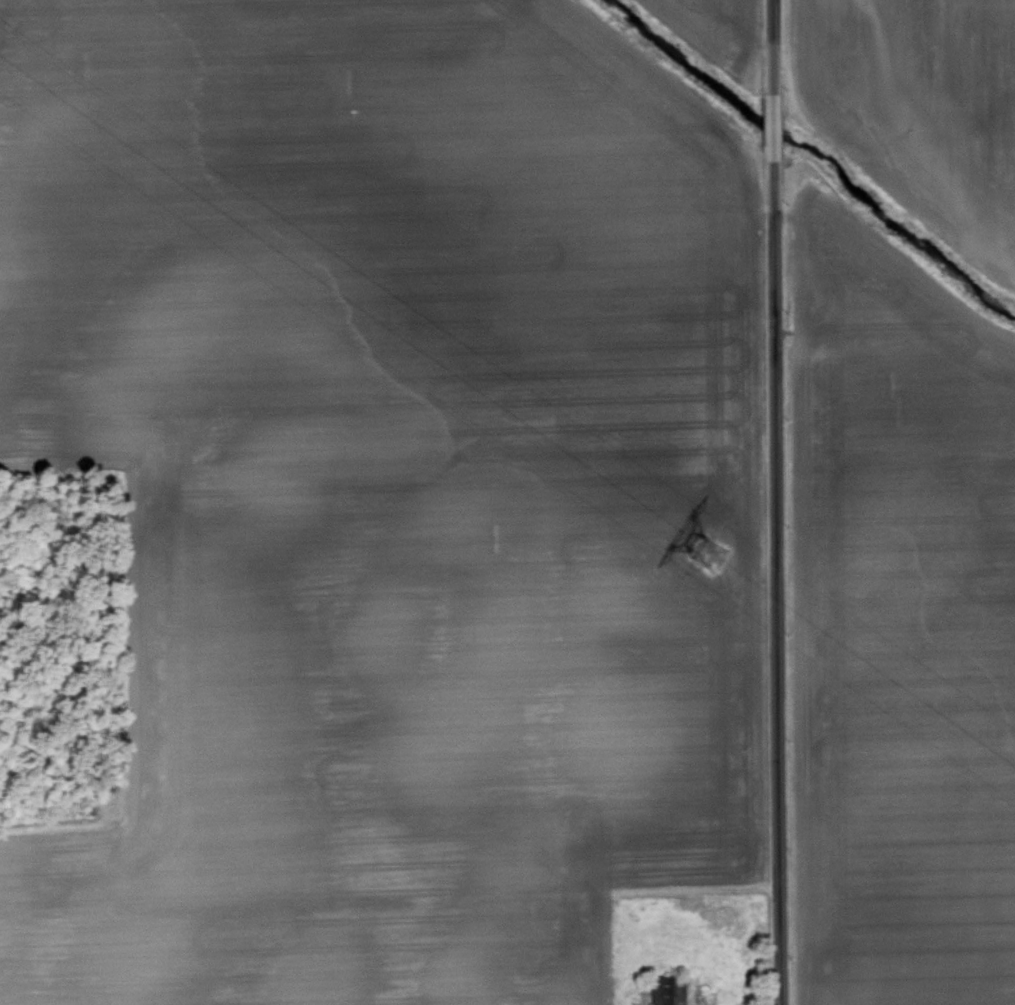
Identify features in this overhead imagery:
road: (774, 502)
power tower: (723, 566)
building: (668, 989)

